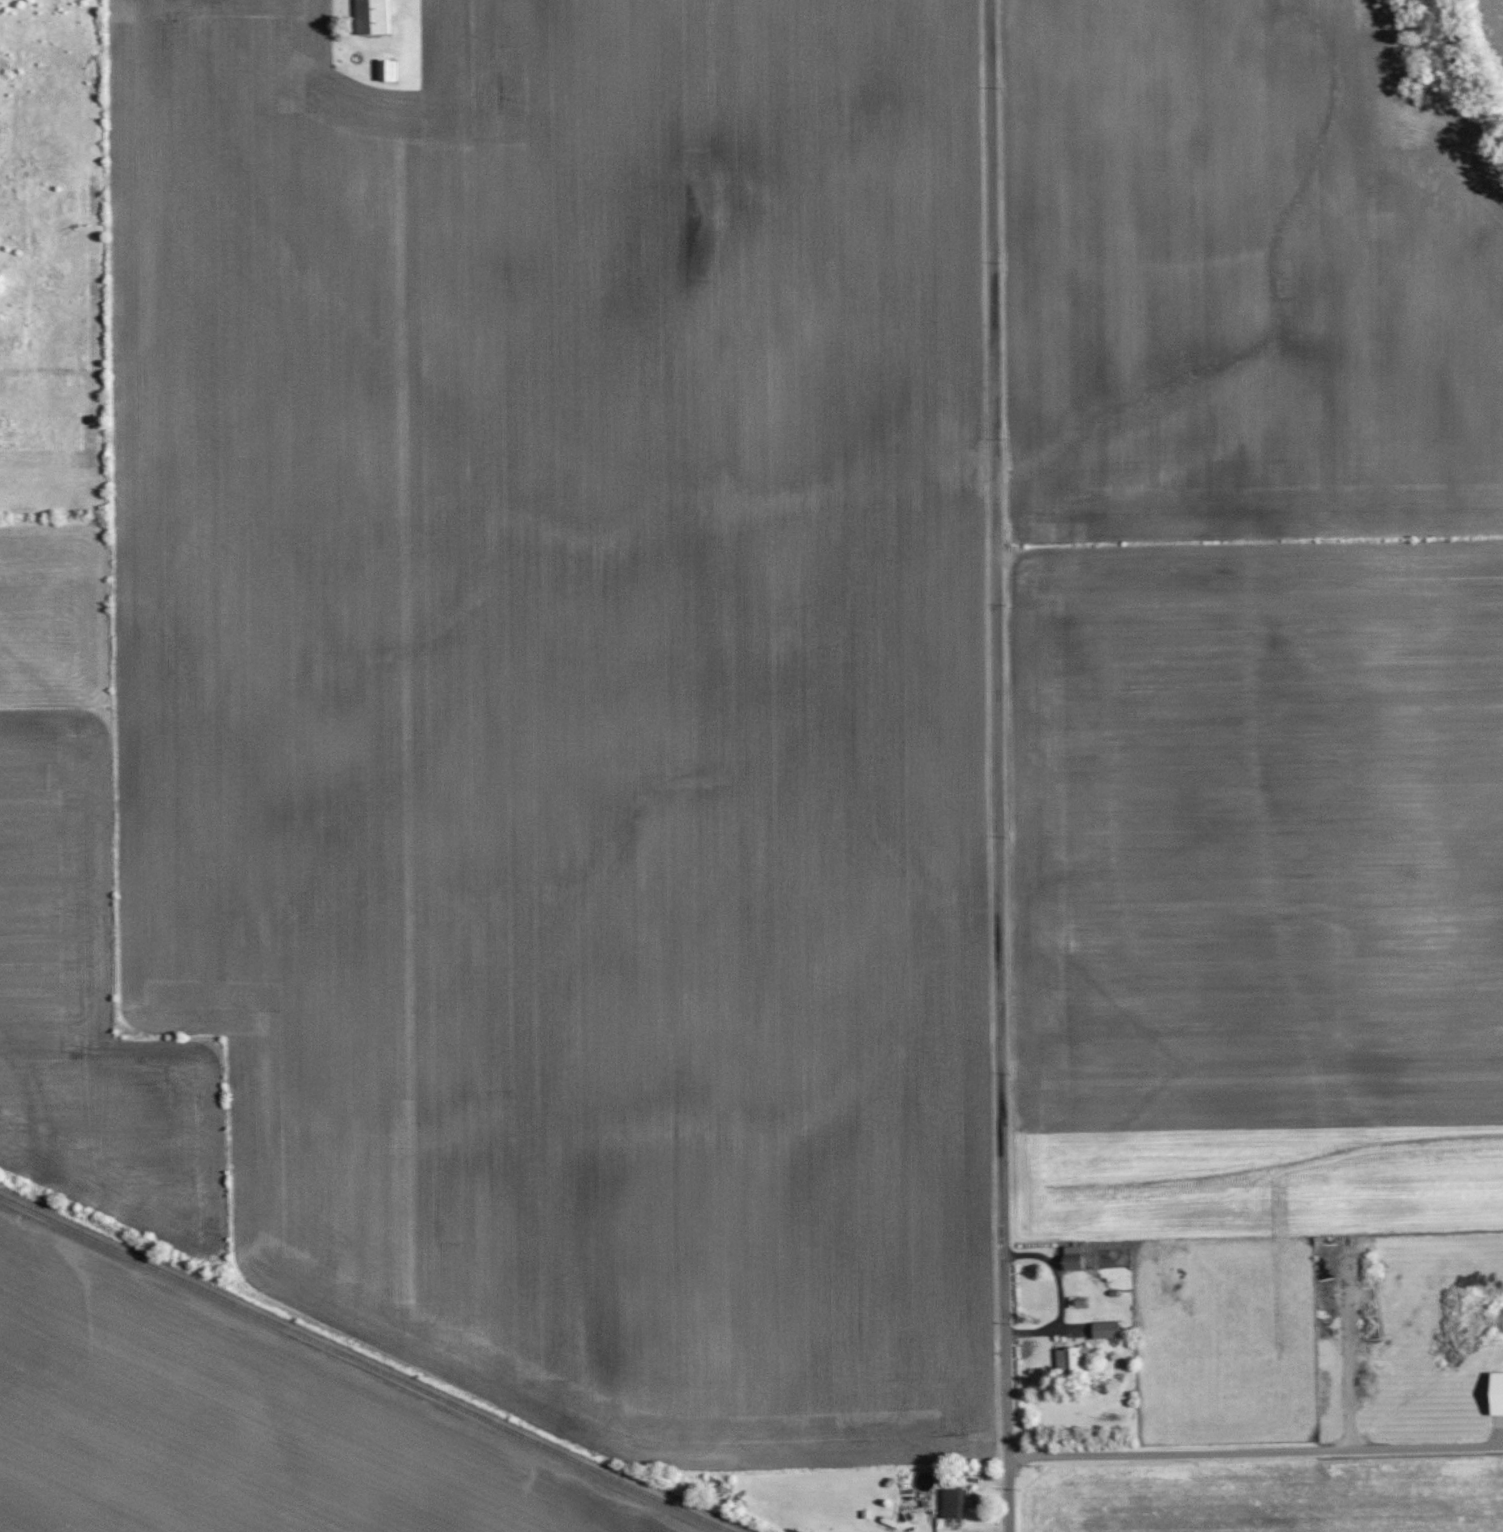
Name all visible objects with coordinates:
road: (997, 766)
building: (1069, 1258)
building: (1102, 1329)
building: (1066, 1359)
railway: (365, 1364)
road: (1255, 1429)
building: (950, 1502)

